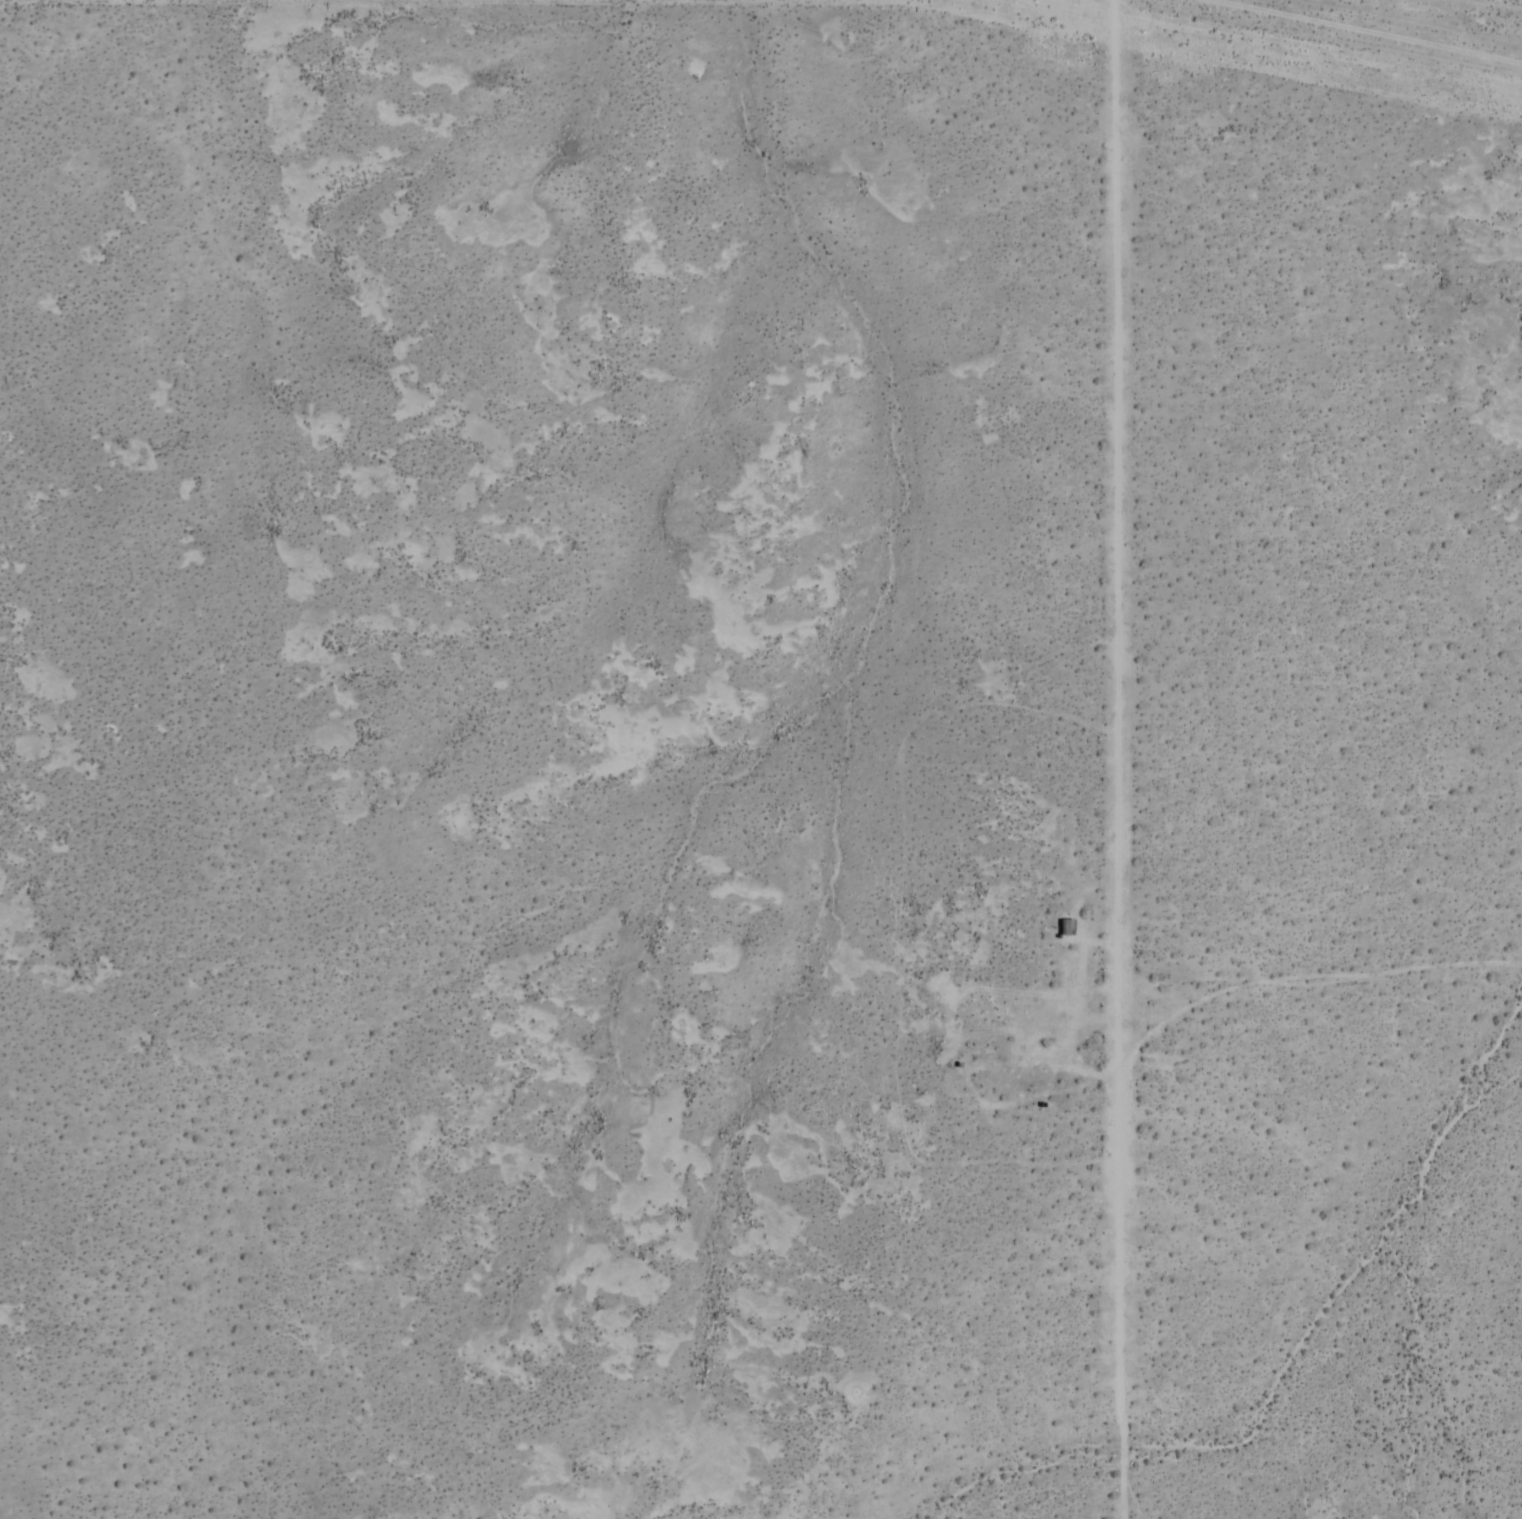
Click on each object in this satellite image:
road: (1105, 245)

